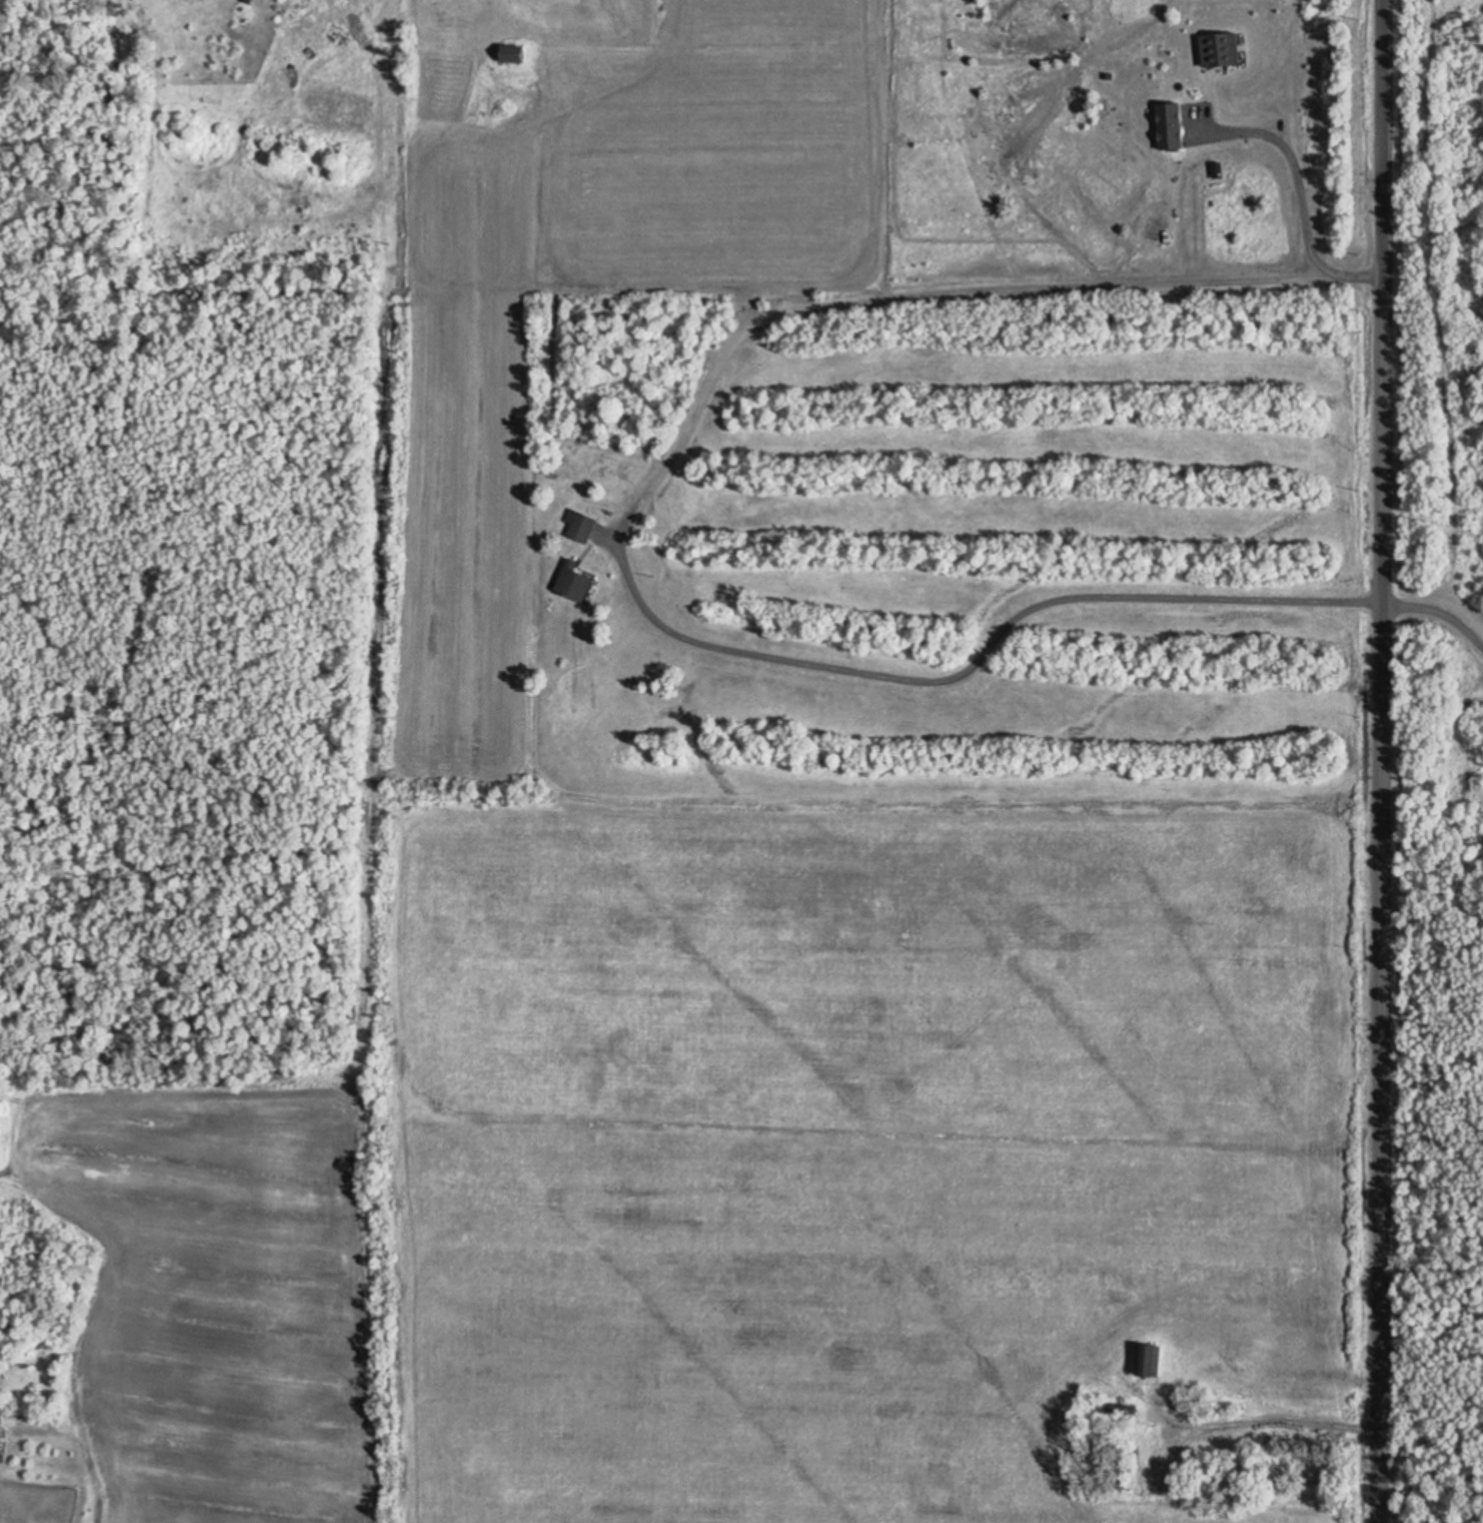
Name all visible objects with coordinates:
building: (1222, 49)
building: (512, 52)
building: (1172, 125)
building: (1167, 184)
road: (927, 427)
building: (581, 524)
building: (574, 581)
road: (1380, 761)
building: (1148, 1359)
building: (1116, 1407)

